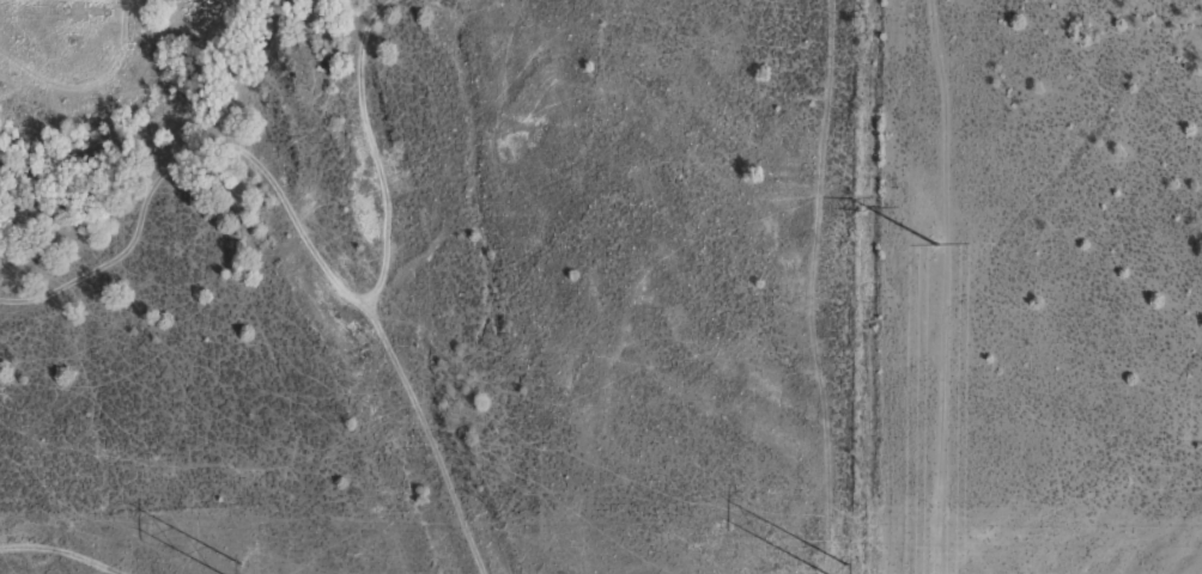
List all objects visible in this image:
power tower: (936, 244)
railway: (363, 287)
crop: (601, 287)
power tower: (239, 570)
power tower: (843, 570)

